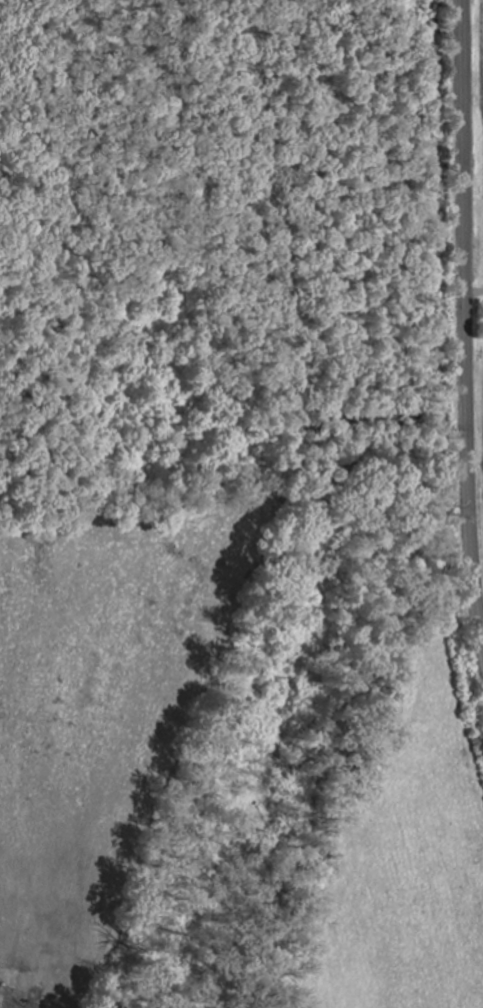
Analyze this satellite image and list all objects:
road: (466, 312)

